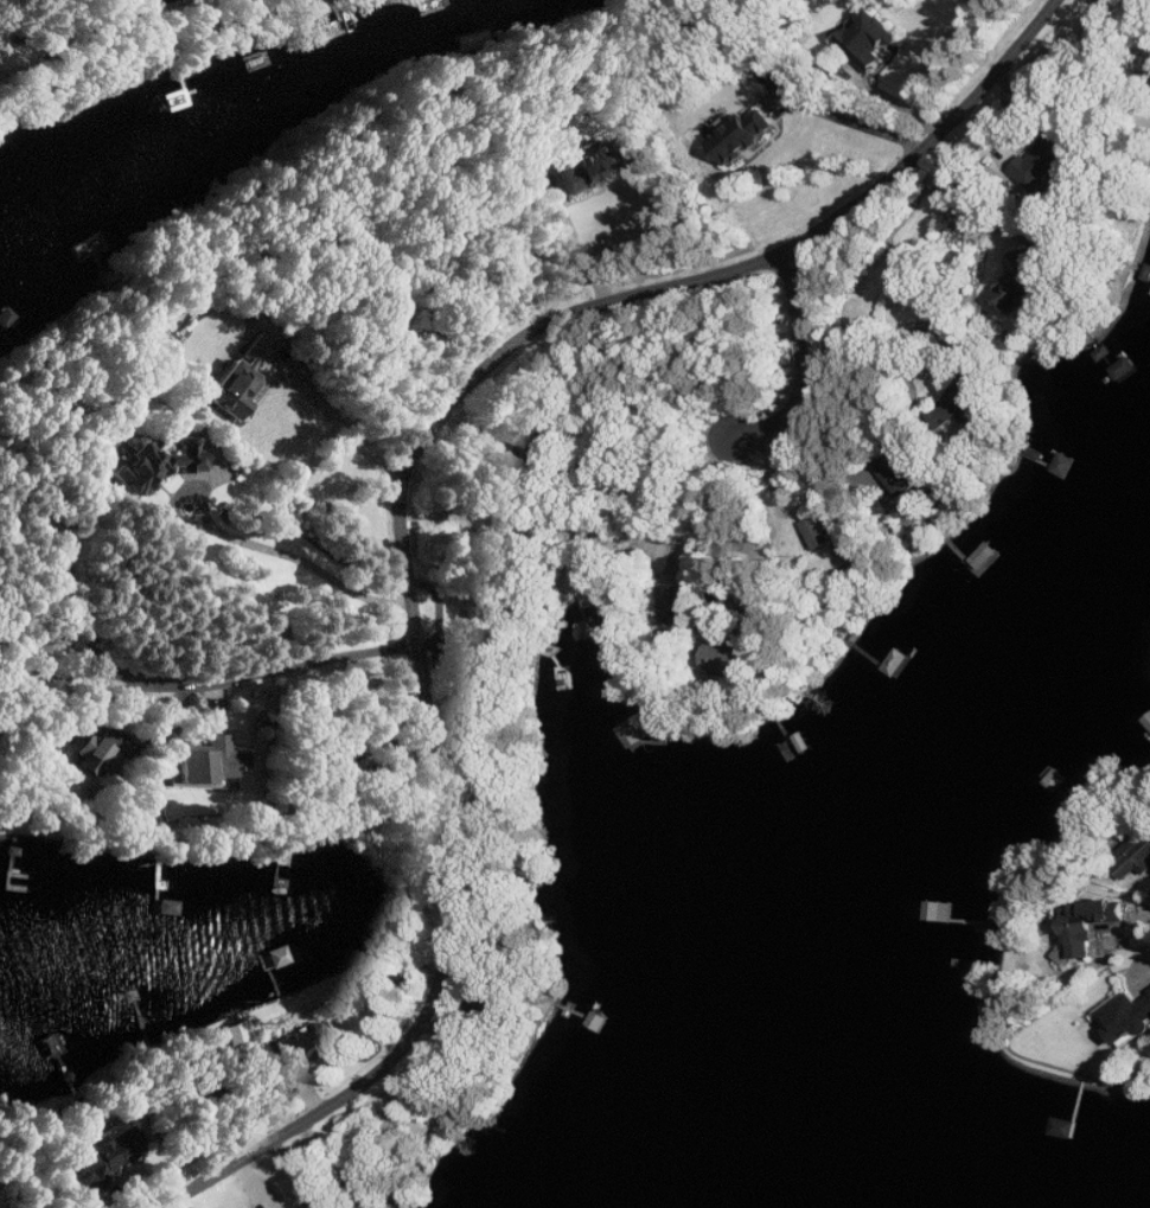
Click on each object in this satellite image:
building: (869, 40)
road: (846, 119)
building: (743, 136)
building: (1042, 162)
building: (592, 167)
road: (963, 207)
building: (1027, 283)
road: (855, 341)
road: (805, 362)
building: (241, 378)
road: (867, 394)
building: (959, 405)
road: (339, 421)
building: (538, 453)
building: (156, 467)
building: (901, 477)
road: (401, 492)
building: (818, 532)
road: (260, 544)
building: (679, 607)
building: (485, 626)
building: (727, 658)
road: (198, 680)
building: (635, 731)
building: (95, 758)
building: (207, 765)
building: (1135, 857)
road: (1137, 912)
building: (1087, 926)
building: (1127, 1017)
building: (304, 1046)
building: (109, 1155)

